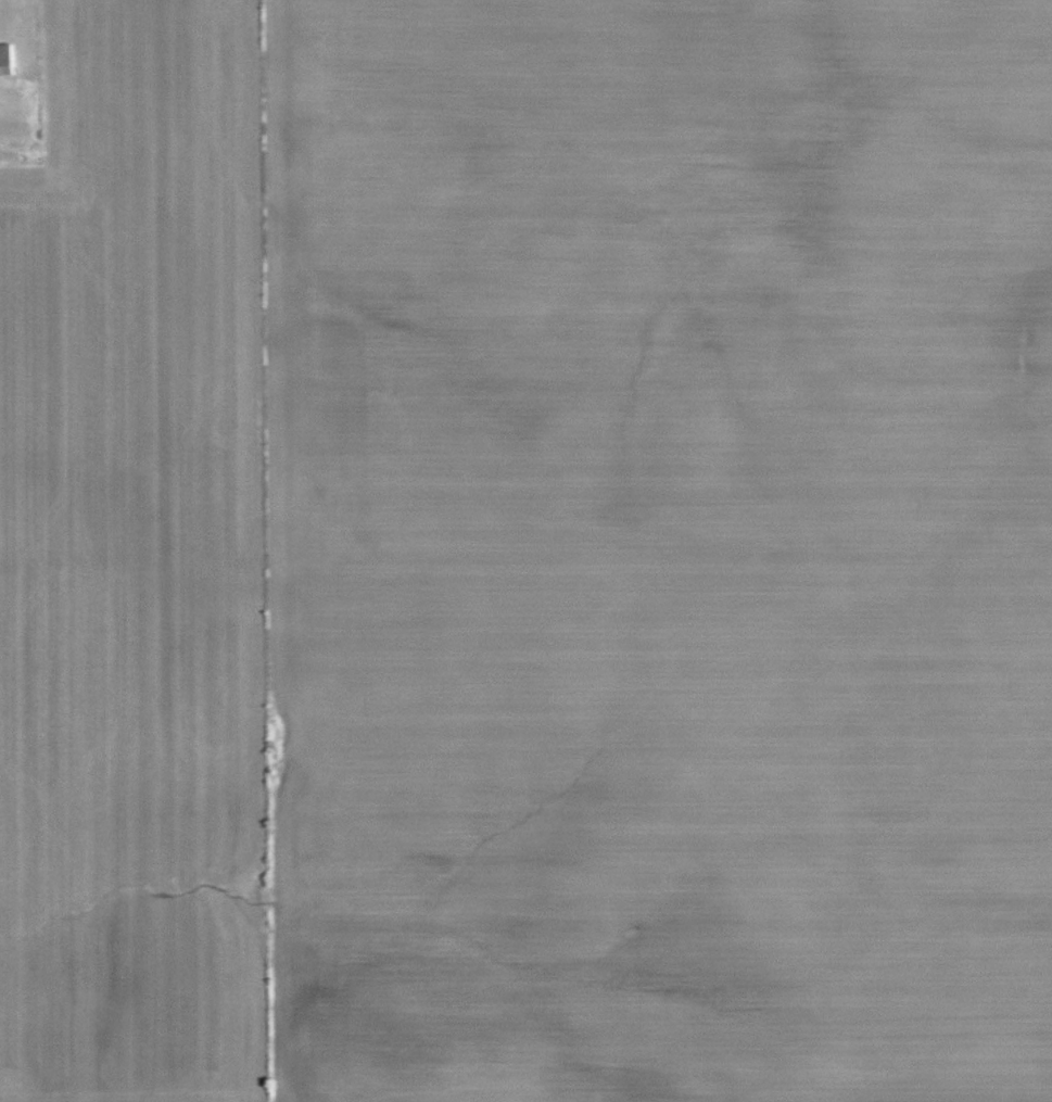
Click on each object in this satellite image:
building: (4, 59)

